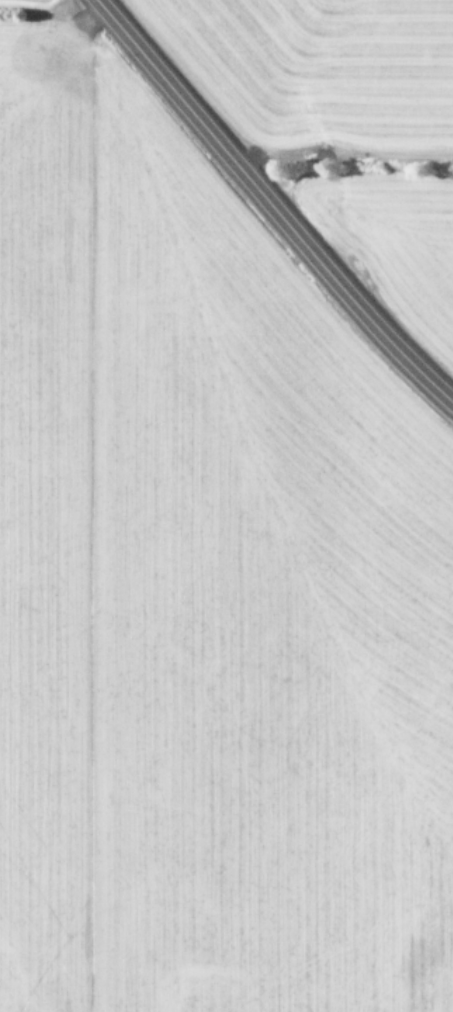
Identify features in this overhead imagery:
crop: (343, 123)
road: (267, 209)
crop: (203, 589)

